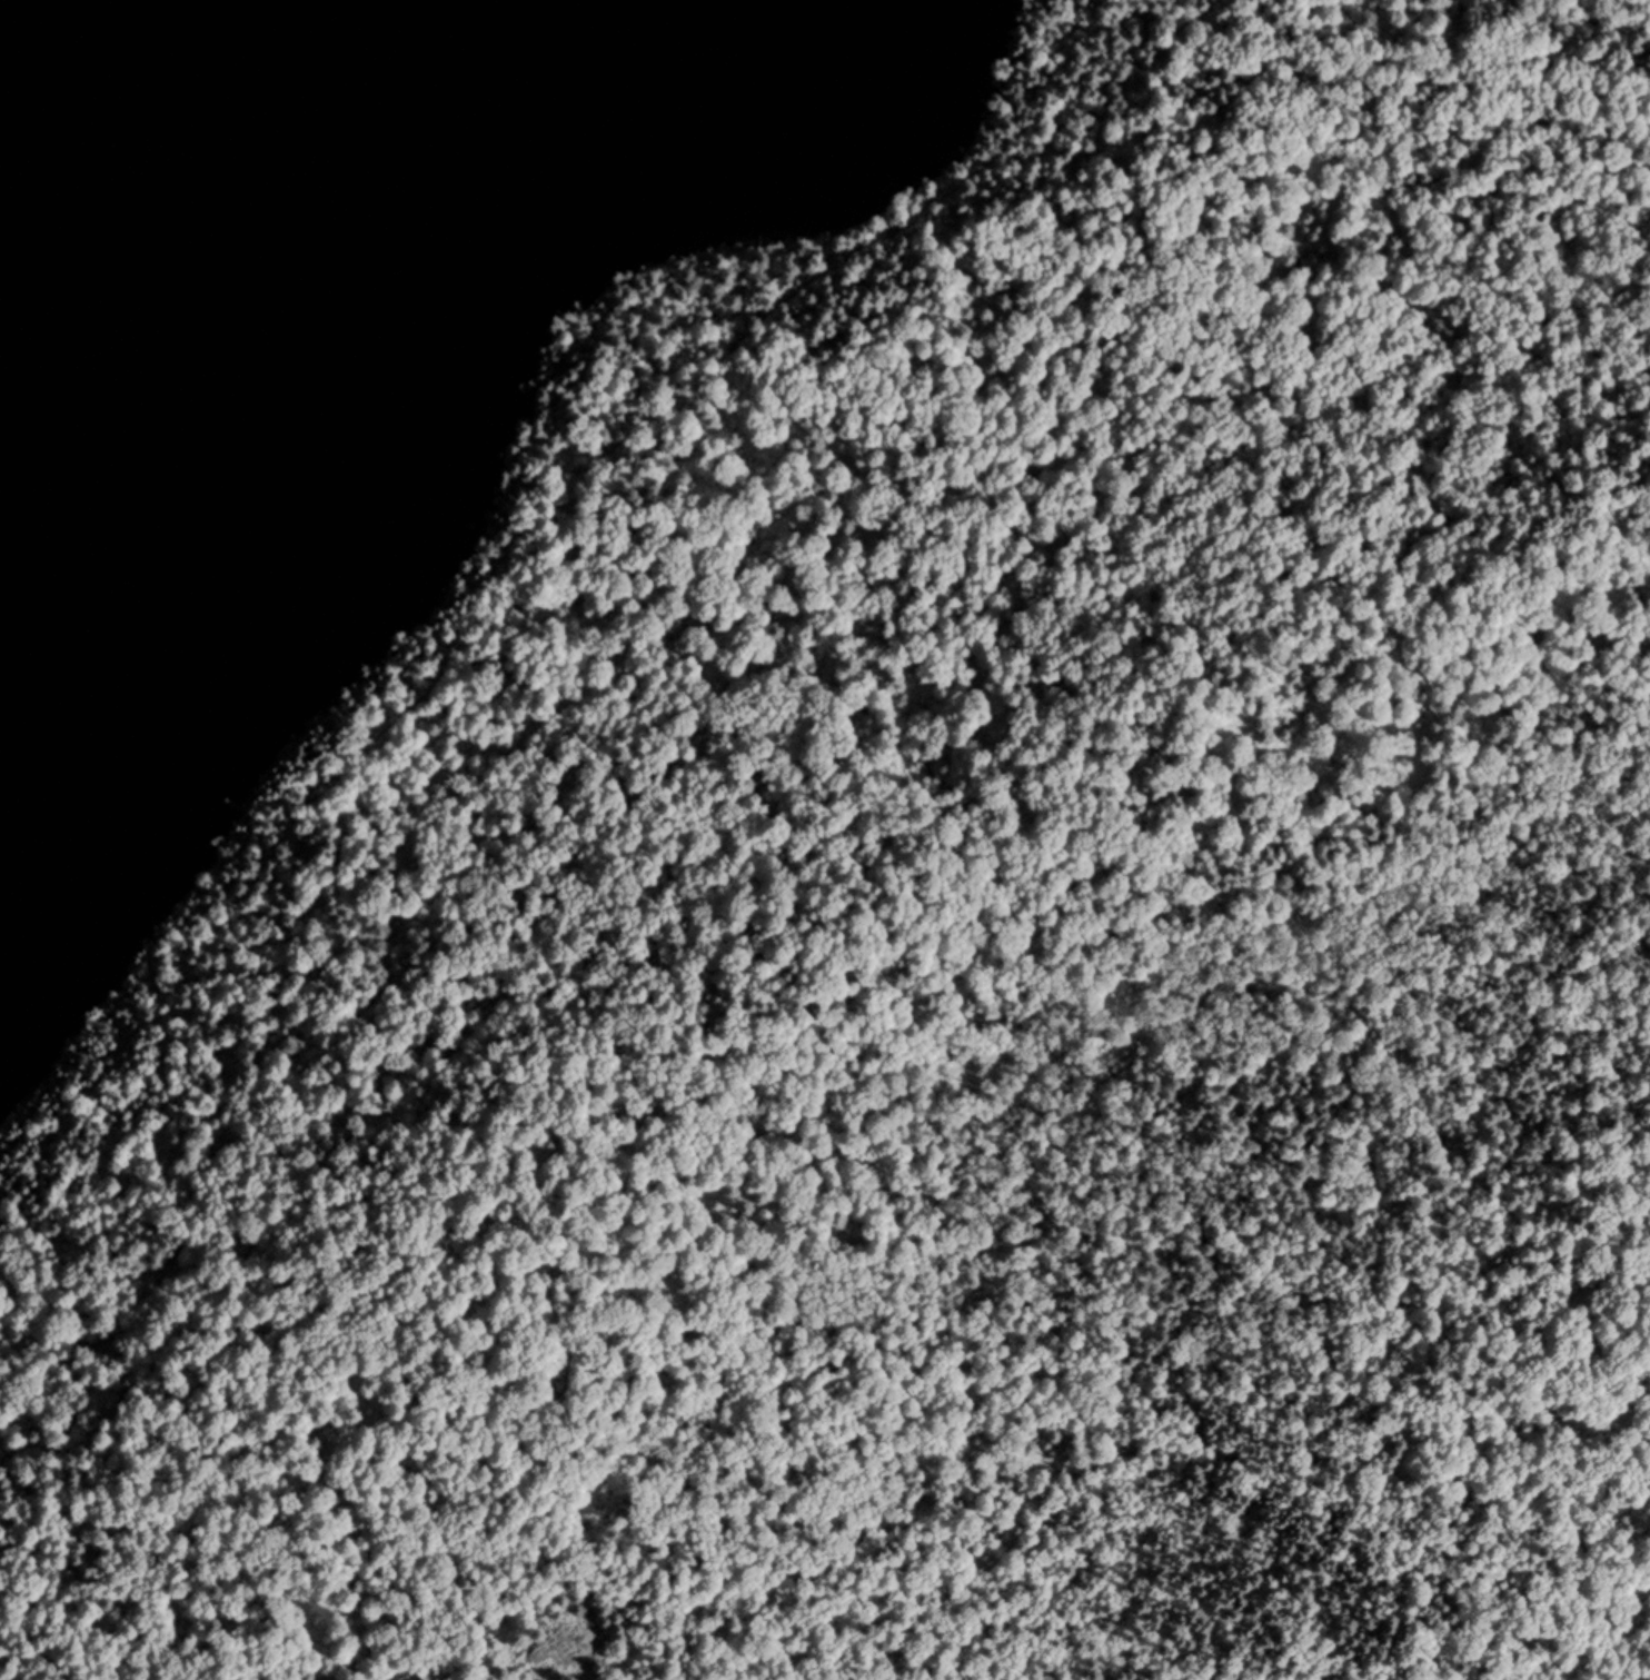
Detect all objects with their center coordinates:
road: (1326, 78)
road: (536, 586)

